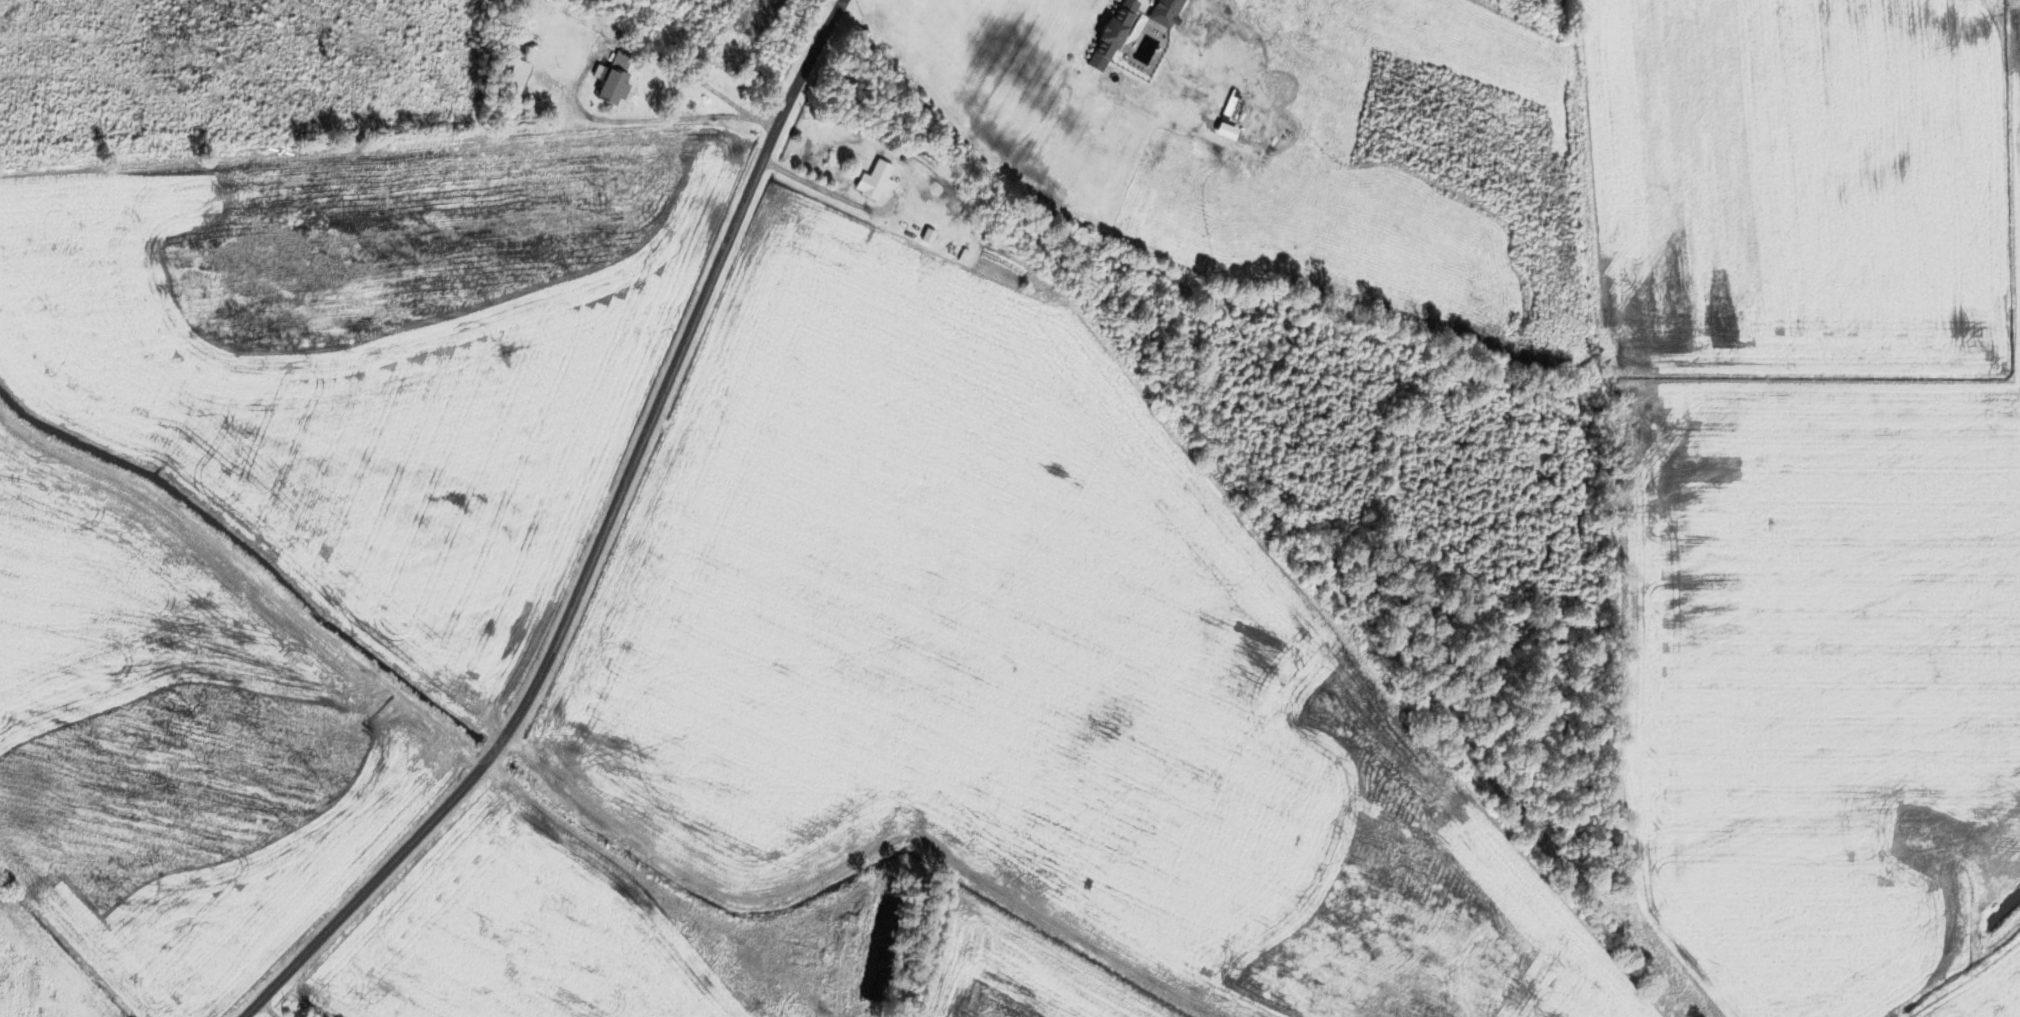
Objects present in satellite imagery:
building: (1165, 12)
building: (1111, 35)
building: (614, 77)
building: (519, 78)
building: (875, 181)
building: (928, 237)
road: (599, 544)
road: (367, 671)
road: (268, 1008)

